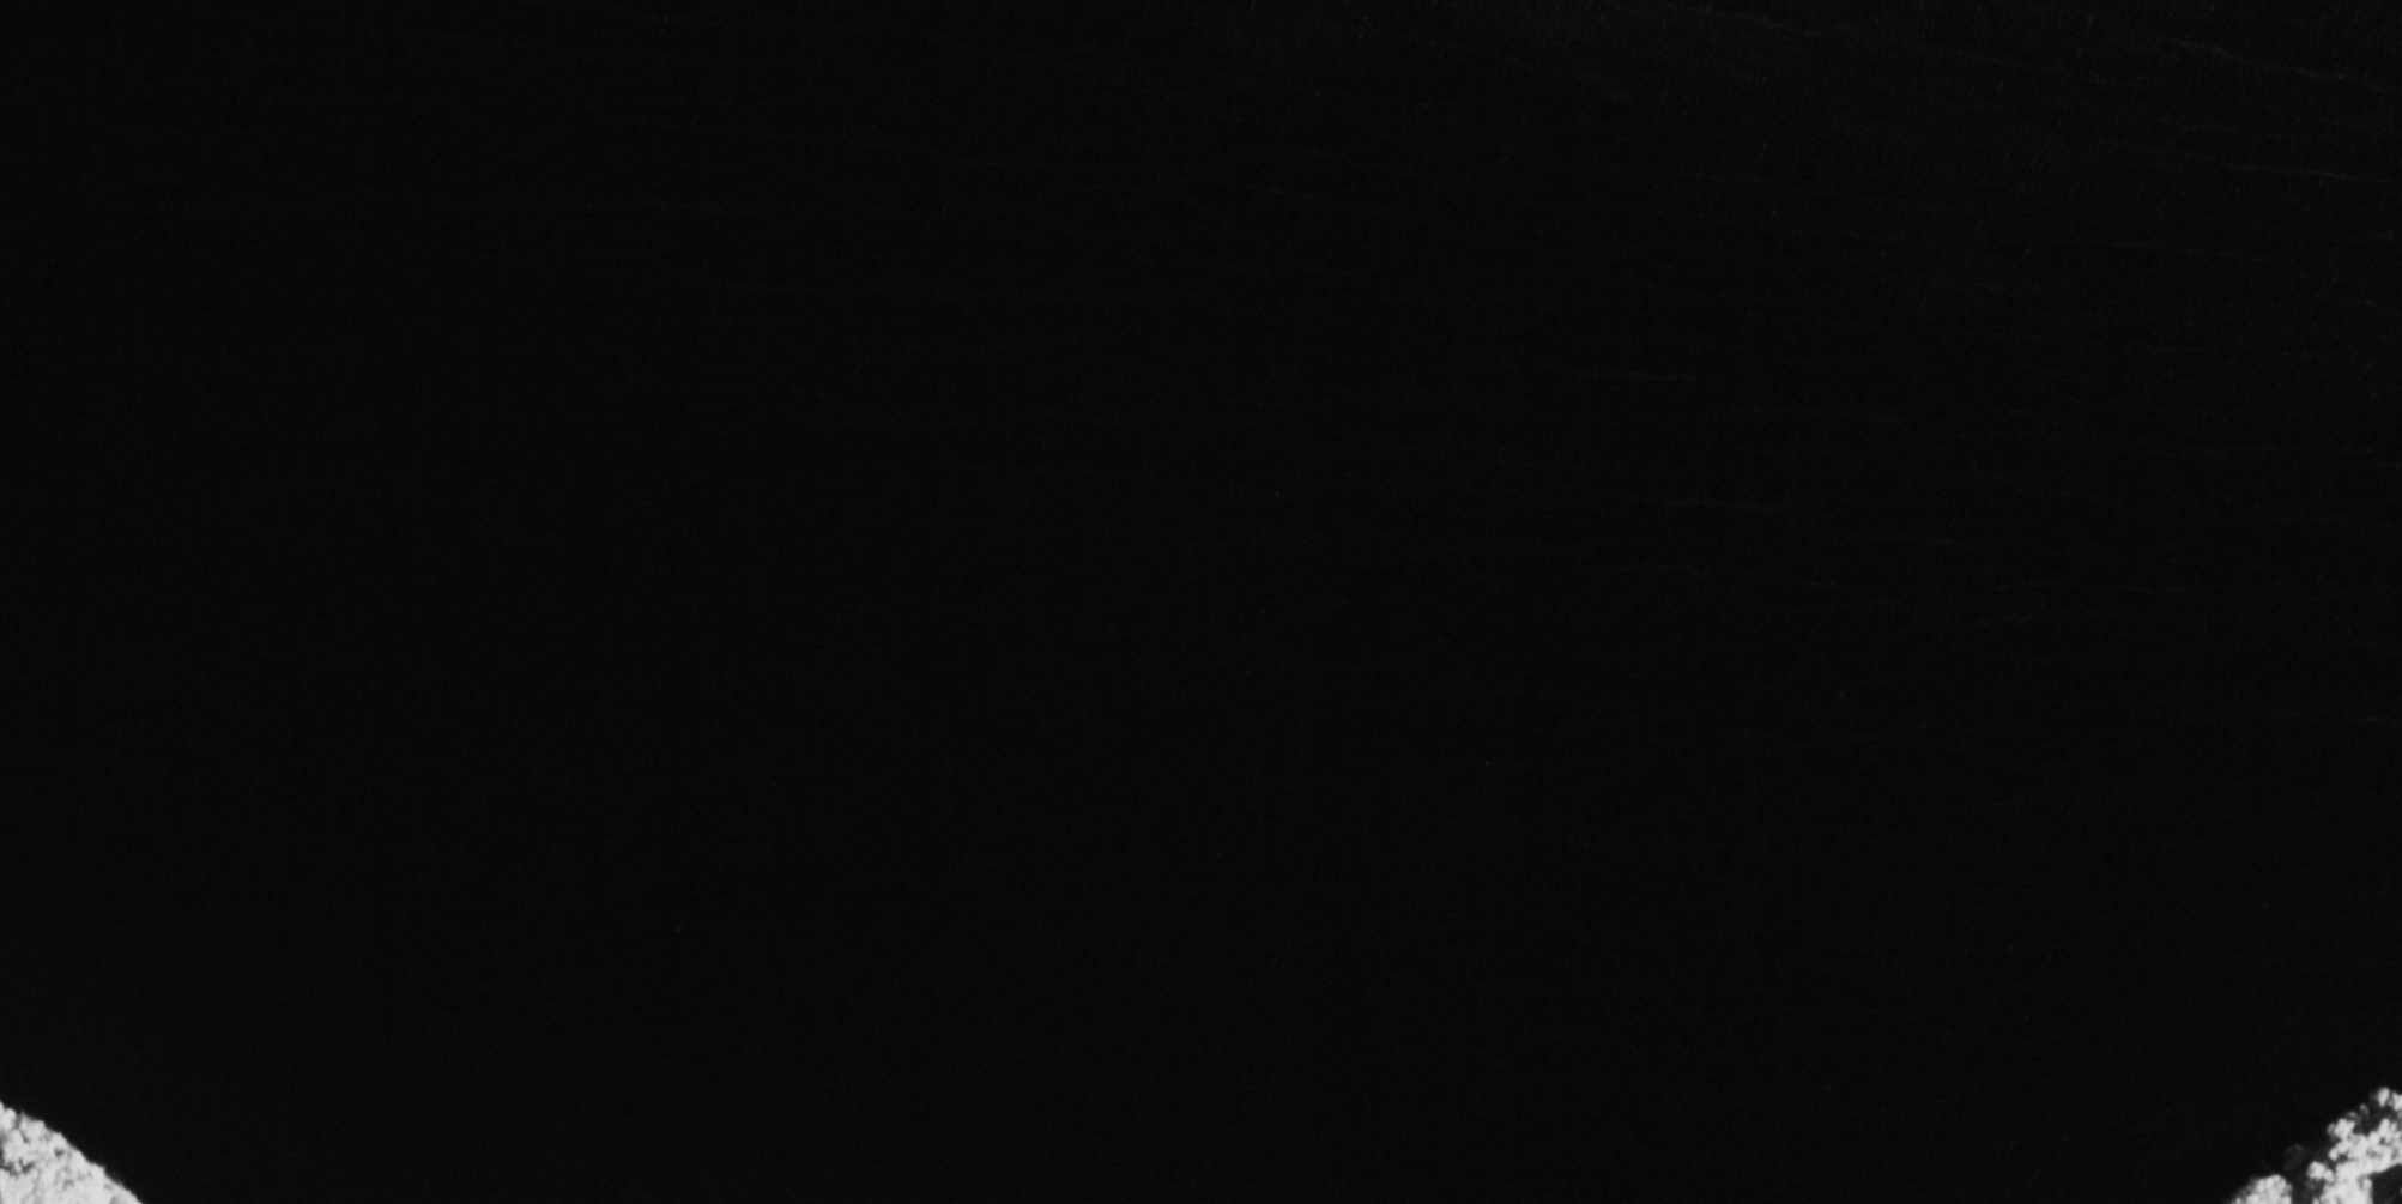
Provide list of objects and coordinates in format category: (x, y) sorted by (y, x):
building: (2398, 1186)

